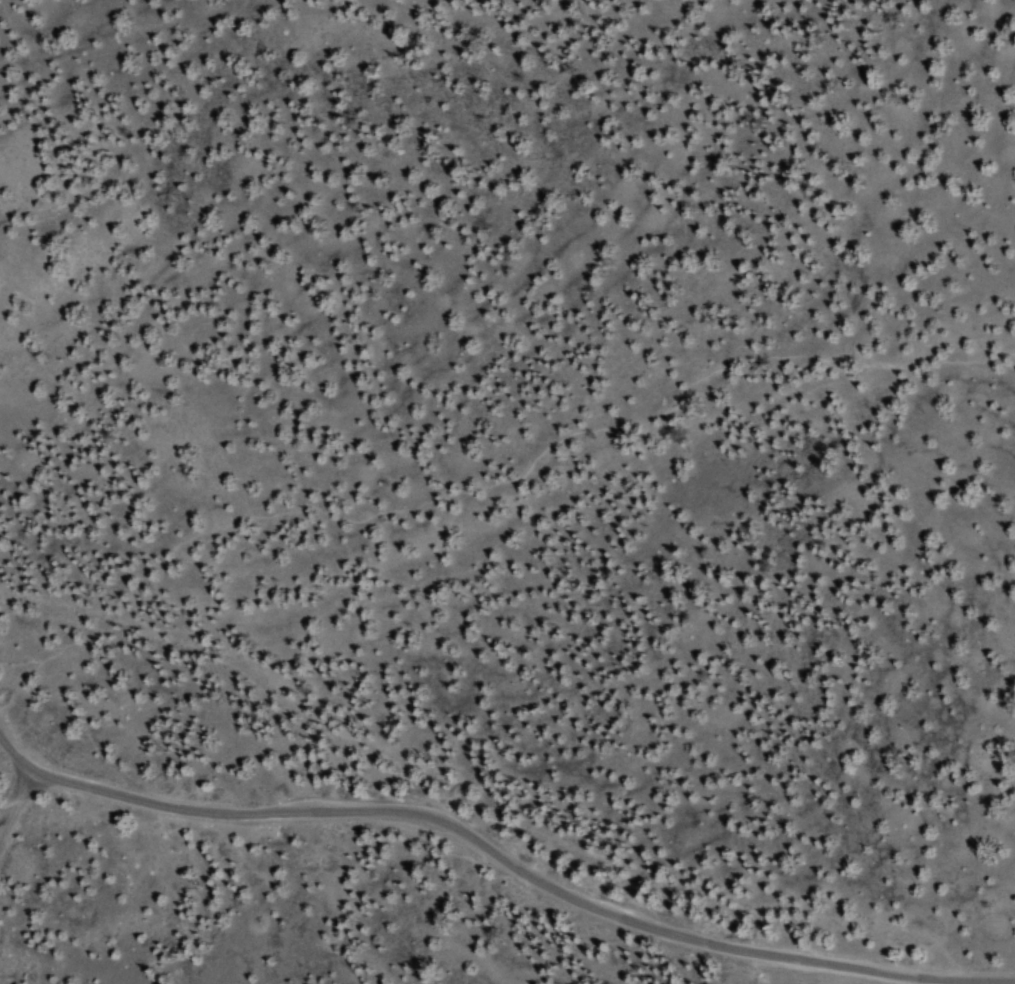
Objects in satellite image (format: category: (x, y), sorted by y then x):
road: (15, 810)
road: (481, 850)

